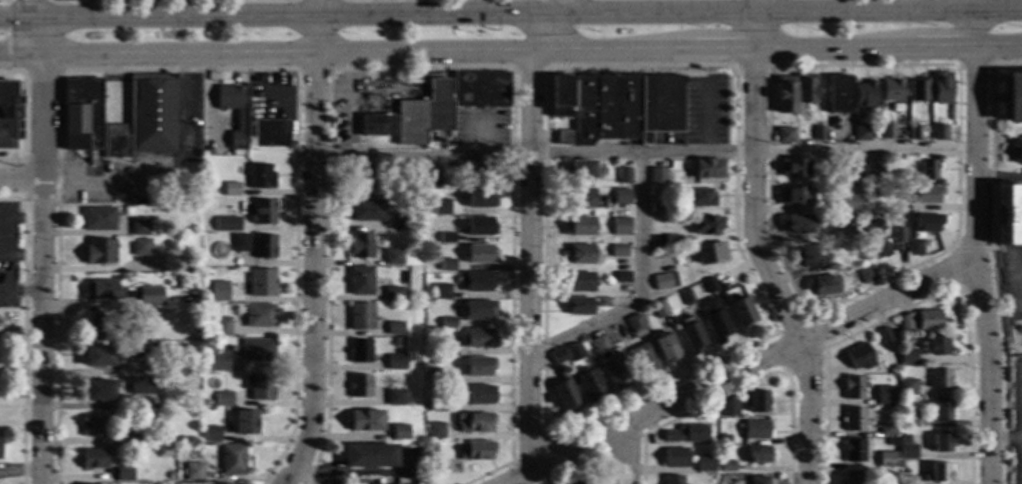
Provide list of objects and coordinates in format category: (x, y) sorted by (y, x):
road: (761, 7)
road: (964, 7)
road: (559, 8)
road: (316, 9)
road: (372, 9)
road: (30, 10)
road: (526, 17)
road: (15, 20)
road: (757, 32)
road: (968, 32)
road: (547, 34)
road: (315, 36)
road: (35, 37)
road: (996, 49)
road: (833, 50)
road: (942, 50)
road: (721, 51)
road: (364, 53)
road: (20, 54)
road: (973, 64)
road: (903, 65)
road: (712, 67)
road: (750, 67)
road: (431, 69)
road: (527, 69)
road: (310, 70)
building: (804, 88)
building: (479, 89)
building: (941, 89)
building: (891, 90)
building: (918, 90)
building: (838, 94)
building: (784, 95)
building: (864, 95)
building: (559, 97)
building: (1013, 98)
building: (624, 107)
building: (81, 114)
building: (423, 114)
building: (10, 115)
building: (144, 118)
building: (240, 120)
building: (949, 122)
building: (374, 125)
building: (817, 131)
building: (886, 131)
building: (914, 131)
building: (860, 132)
building: (938, 132)
building: (269, 133)
building: (783, 135)
building: (902, 135)
building: (562, 138)
building: (1017, 153)
road: (644, 155)
building: (793, 168)
building: (474, 169)
building: (707, 169)
building: (579, 170)
building: (852, 170)
building: (872, 170)
building: (927, 170)
building: (413, 173)
building: (357, 176)
building: (623, 176)
building: (656, 176)
building: (260, 177)
road: (998, 179)
road: (20, 181)
road: (104, 181)
building: (231, 189)
building: (926, 194)
building: (621, 197)
building: (794, 197)
building: (699, 198)
building: (480, 199)
building: (582, 199)
building: (850, 203)
building: (440, 207)
building: (656, 209)
building: (365, 210)
building: (449, 210)
building: (262, 213)
building: (1012, 215)
building: (98, 219)
road: (20, 220)
building: (402, 222)
building: (796, 223)
building: (926, 223)
building: (226, 224)
building: (706, 225)
building: (478, 226)
building: (577, 226)
building: (139, 227)
building: (619, 227)
building: (844, 232)
building: (898, 234)
building: (446, 237)
building: (205, 238)
building: (875, 239)
building: (436, 240)
building: (672, 242)
building: (239, 243)
building: (358, 246)
building: (140, 247)
building: (263, 247)
building: (914, 247)
road: (950, 249)
building: (99, 251)
building: (617, 252)
building: (709, 253)
building: (480, 254)
building: (580, 255)
building: (810, 257)
road: (20, 258)
building: (391, 258)
road: (990, 258)
road: (528, 260)
building: (676, 263)
building: (445, 267)
road: (974, 267)
road: (41, 268)
building: (605, 268)
building: (669, 270)
road: (766, 270)
road: (313, 272)
building: (866, 274)
building: (621, 278)
building: (359, 281)
building: (476, 282)
building: (578, 282)
building: (664, 282)
building: (261, 283)
road: (974, 283)
building: (709, 285)
building: (723, 285)
building: (821, 286)
road: (637, 288)
building: (101, 290)
building: (218, 291)
building: (440, 292)
building: (391, 293)
road: (20, 294)
building: (686, 297)
building: (145, 298)
road: (915, 302)
building: (602, 303)
building: (578, 306)
building: (477, 310)
building: (658, 310)
building: (740, 312)
building: (130, 314)
building: (258, 315)
building: (359, 317)
building: (714, 320)
building: (928, 320)
building: (905, 322)
building: (447, 323)
building: (634, 326)
building: (221, 327)
building: (95, 328)
building: (393, 329)
building: (431, 335)
building: (691, 335)
building: (884, 335)
building: (478, 339)
building: (582, 340)
building: (598, 344)
building: (935, 346)
building: (156, 347)
building: (664, 348)
building: (257, 350)
building: (142, 351)
building: (358, 351)
building: (448, 352)
building: (574, 353)
road: (813, 354)
building: (98, 356)
building: (557, 356)
building: (907, 356)
building: (859, 357)
building: (643, 359)
building: (218, 362)
building: (394, 363)
building: (228, 365)
building: (478, 367)
road: (739, 371)
building: (615, 373)
building: (444, 376)
building: (939, 379)
building: (590, 385)
building: (143, 386)
building: (358, 386)
road: (738, 386)
building: (259, 387)
building: (907, 387)
building: (853, 388)
building: (98, 390)
building: (476, 395)
building: (885, 396)
building: (564, 397)
building: (222, 398)
building: (393, 398)
building: (757, 402)
building: (440, 404)
building: (427, 407)
building: (729, 408)
building: (941, 411)
building: (855, 418)
building: (907, 419)
road: (1020, 420)
building: (364, 421)
building: (244, 422)
building: (470, 422)
building: (92, 426)
building: (756, 430)
building: (887, 430)
building: (435, 431)
building: (398, 433)
building: (210, 434)
building: (686, 434)
building: (130, 437)
building: (724, 439)
road: (1004, 440)
building: (142, 443)
building: (941, 443)
road: (619, 447)
road: (530, 449)
building: (855, 450)
building: (476, 451)
building: (907, 452)
building: (757, 455)
building: (368, 456)
road: (625, 456)
building: (93, 458)
building: (673, 458)
building: (231, 459)
building: (886, 460)
building: (430, 461)
road: (1019, 462)
building: (704, 463)
road: (581, 464)
building: (726, 467)
road: (20, 471)
building: (189, 471)
building: (123, 474)
building: (938, 474)
building: (169, 476)
building: (854, 478)
building: (722, 479)
building: (673, 480)
building: (758, 480)
building: (907, 480)
building: (401, 481)
building: (332, 482)
building: (222, 483)
building: (577, 483)

